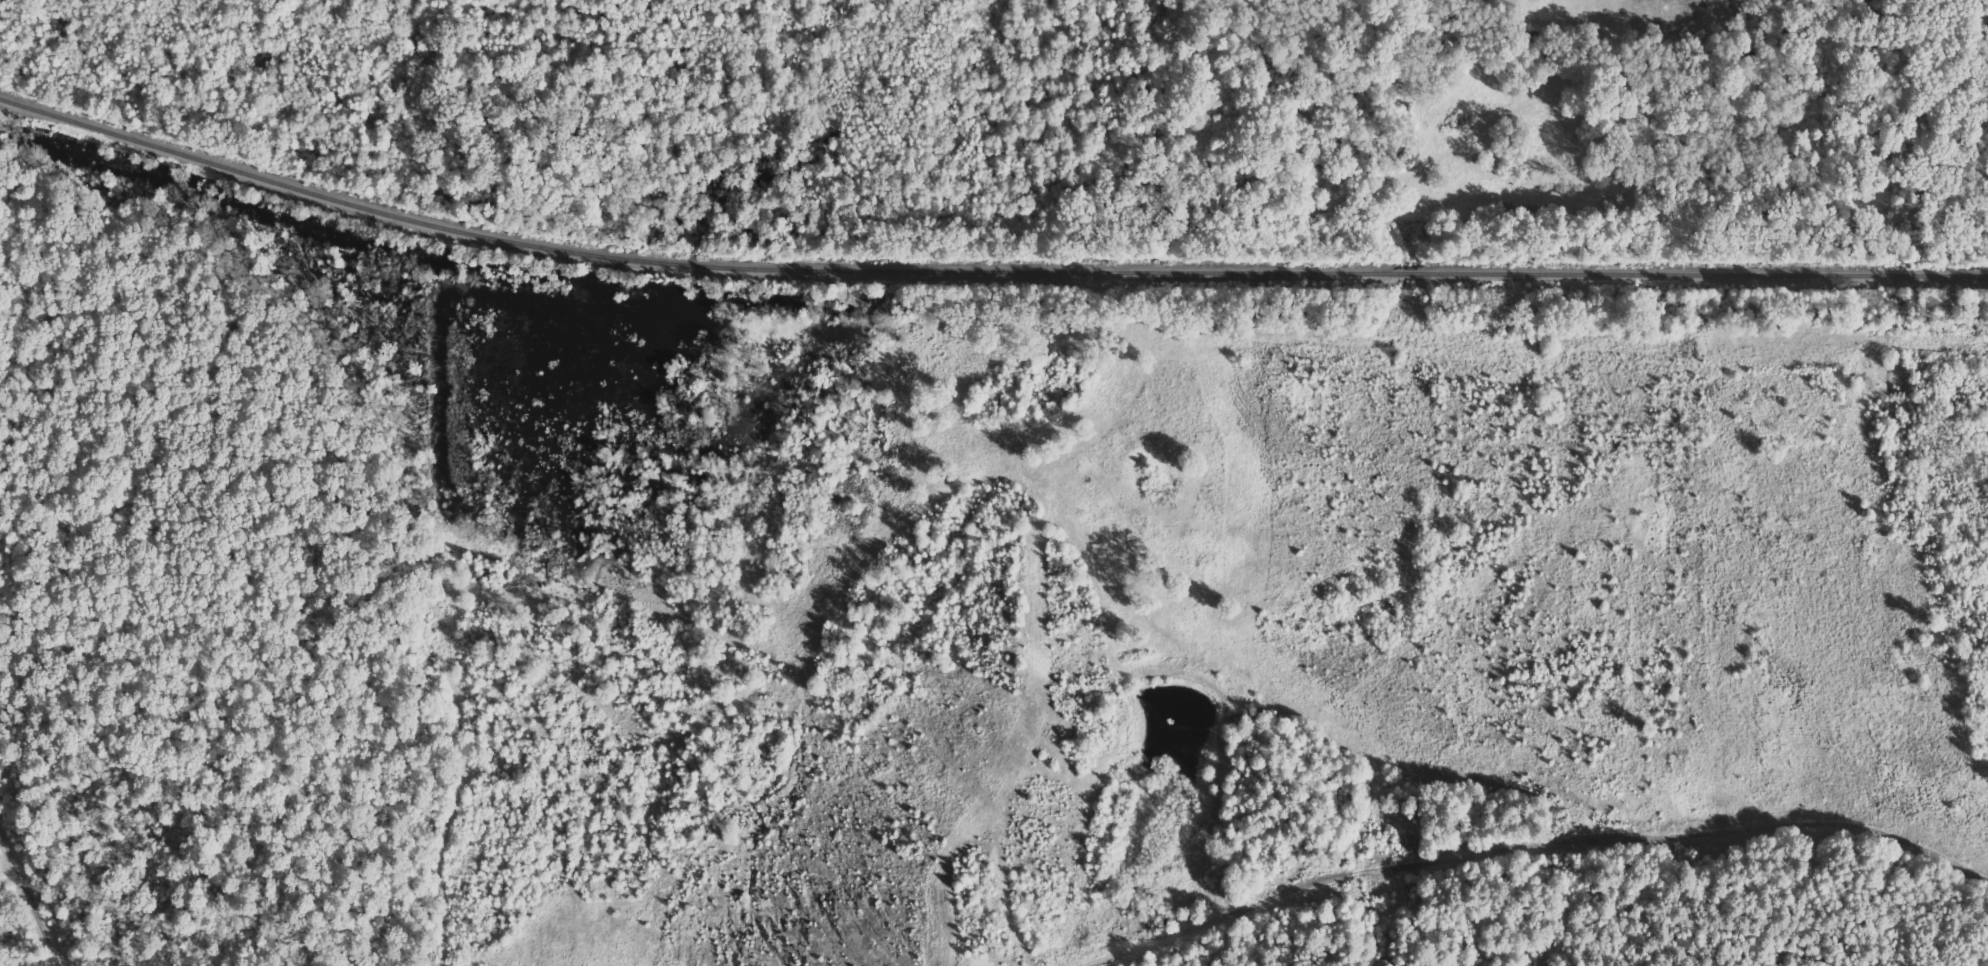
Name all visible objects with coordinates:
railway: (686, 265)
railway: (1406, 274)
railway: (1702, 274)

